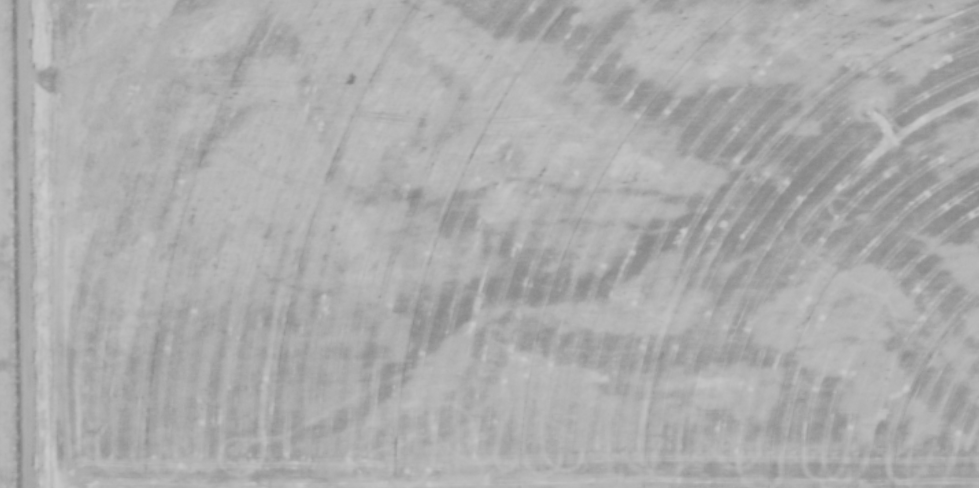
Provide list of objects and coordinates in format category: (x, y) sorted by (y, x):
road: (100, 82)
road: (23, 244)

